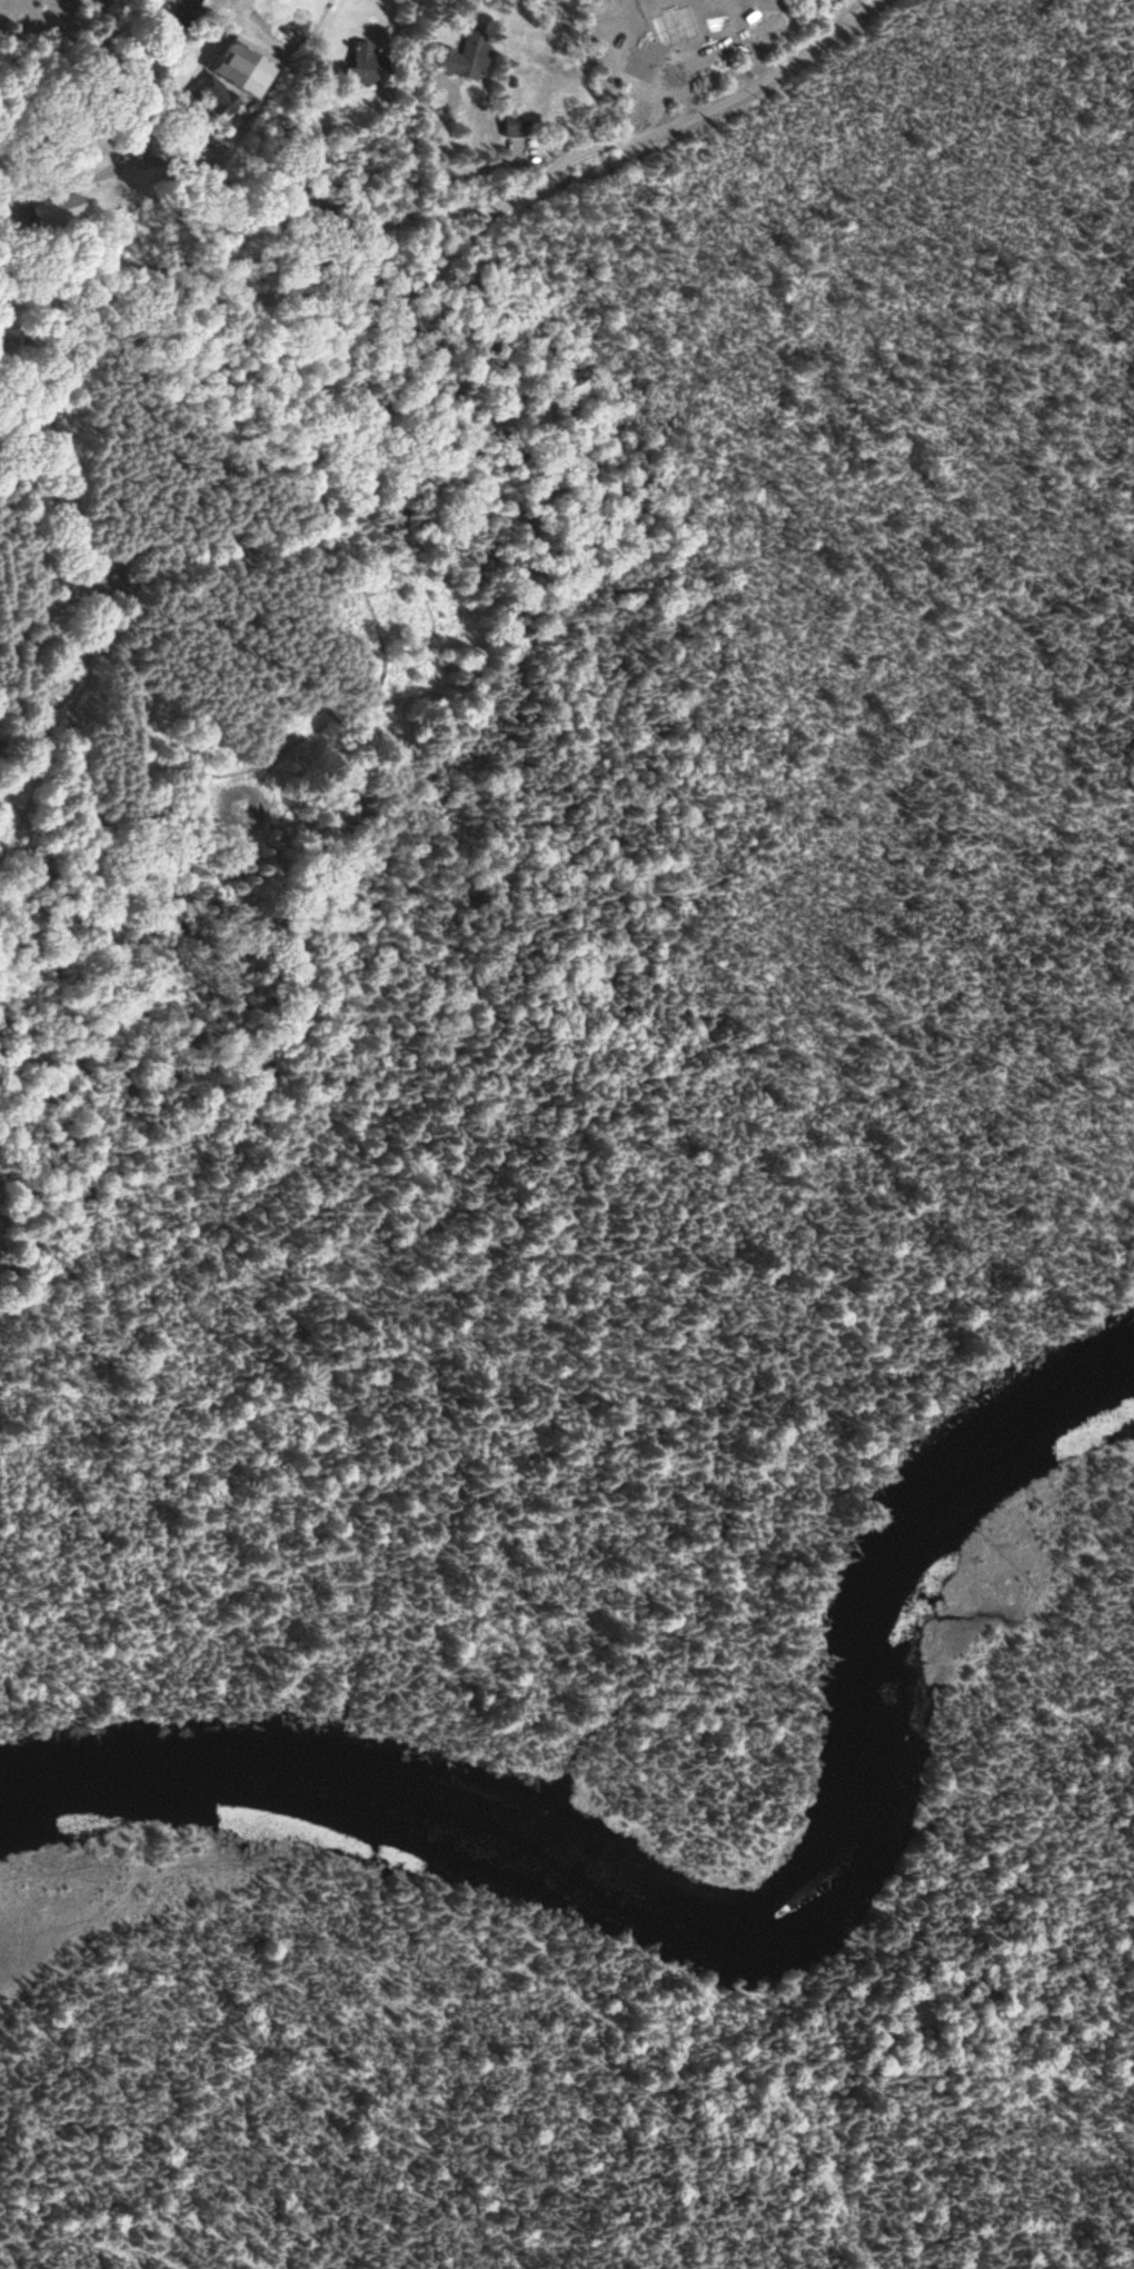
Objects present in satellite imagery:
building: (61, 1)
building: (188, 13)
building: (468, 59)
road: (78, 60)
building: (371, 70)
building: (221, 97)
building: (519, 126)
road: (111, 166)
road: (467, 238)
river: (722, 1927)
road: (859, 2238)

